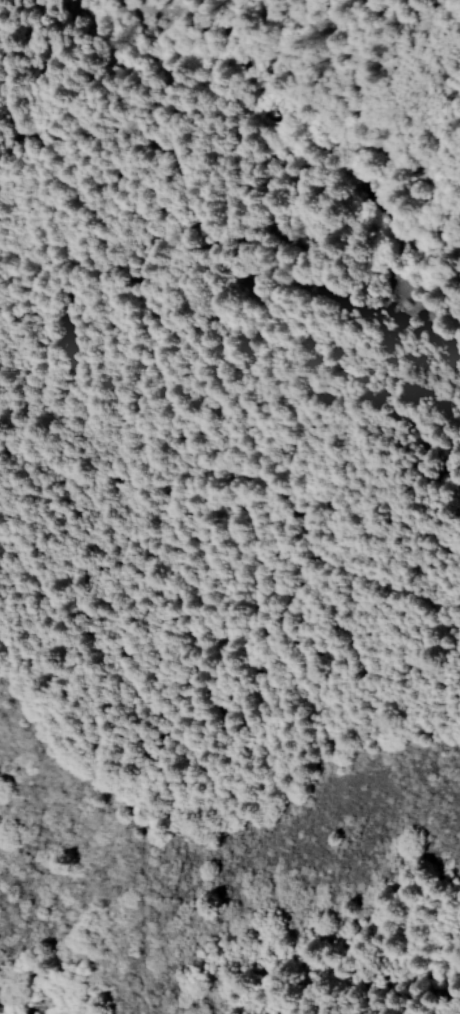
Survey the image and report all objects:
road: (222, 207)

